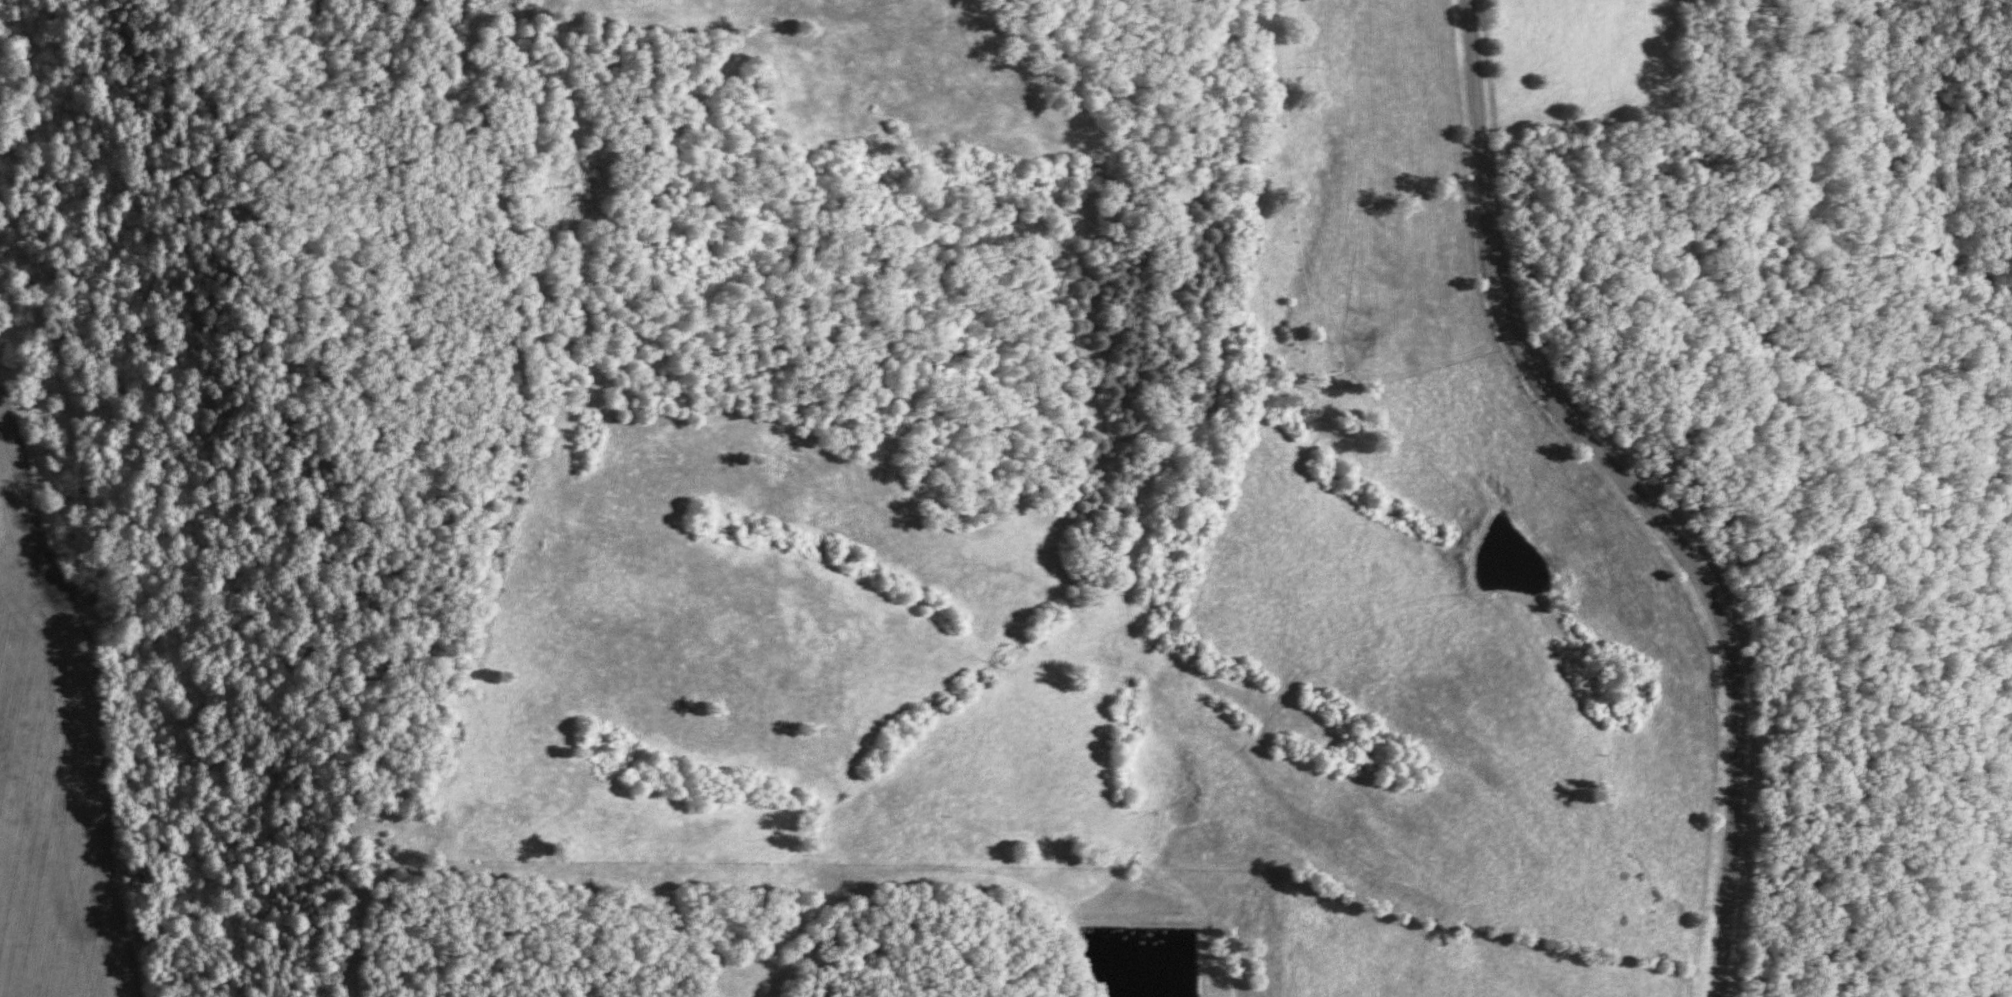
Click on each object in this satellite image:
road: (1631, 492)

